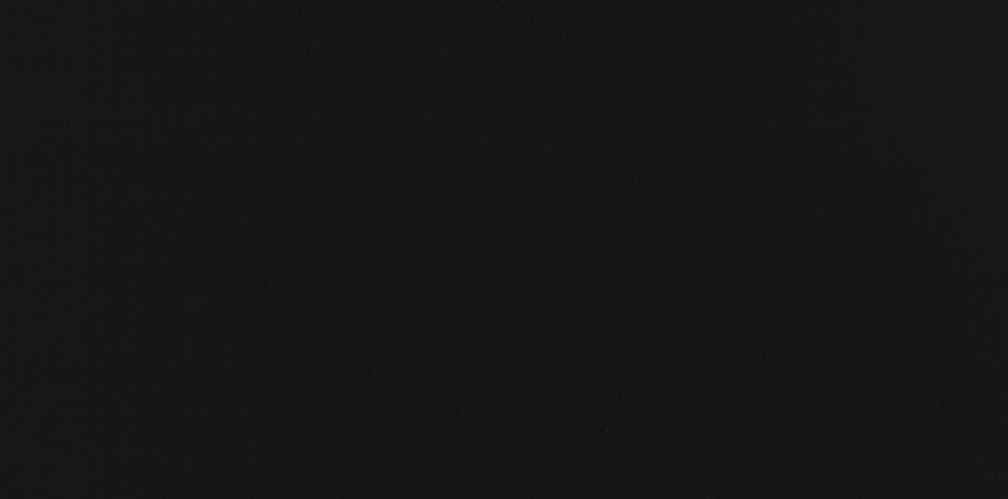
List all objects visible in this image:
river: (794, 411)

